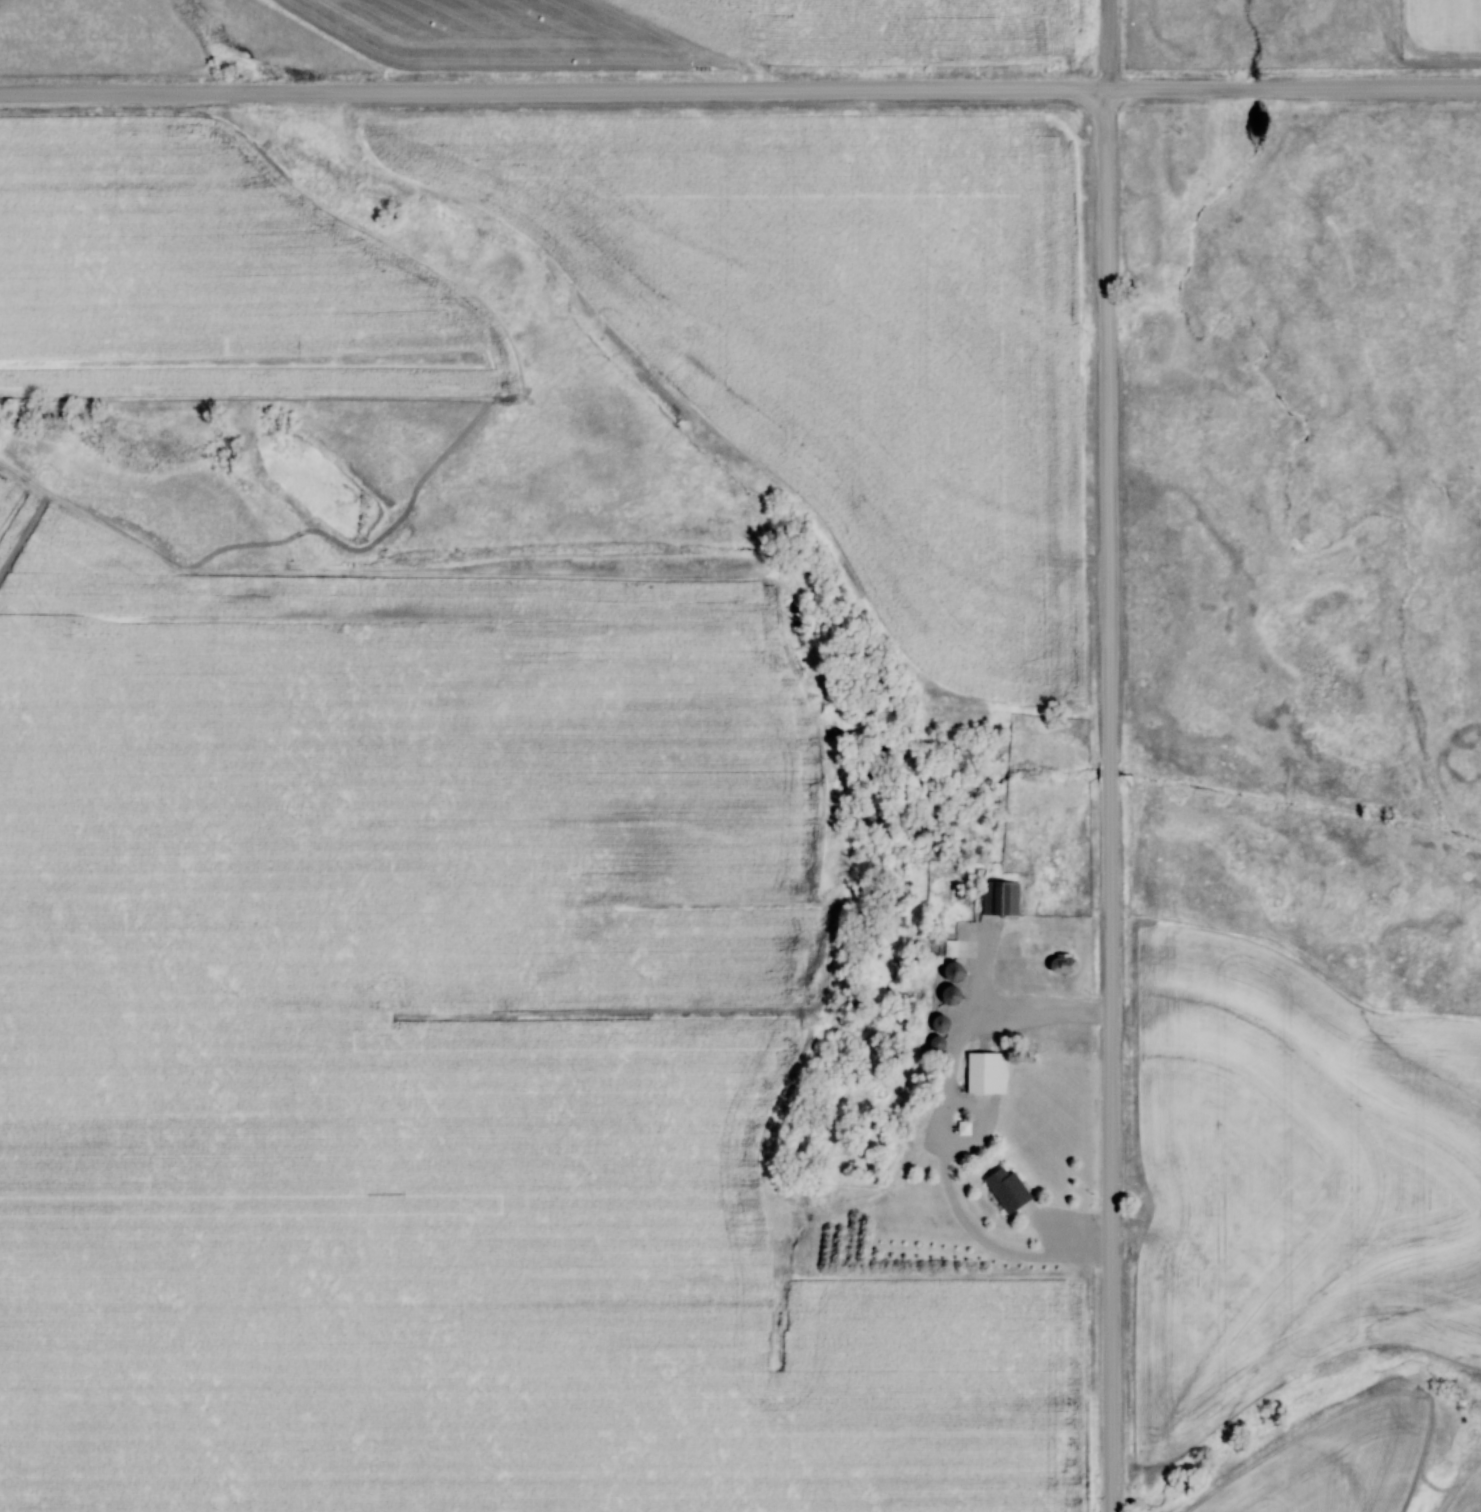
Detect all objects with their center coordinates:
road: (740, 94)
road: (1112, 756)
building: (1002, 897)
building: (957, 970)
building: (988, 1072)
road: (947, 1132)
building: (1011, 1190)

